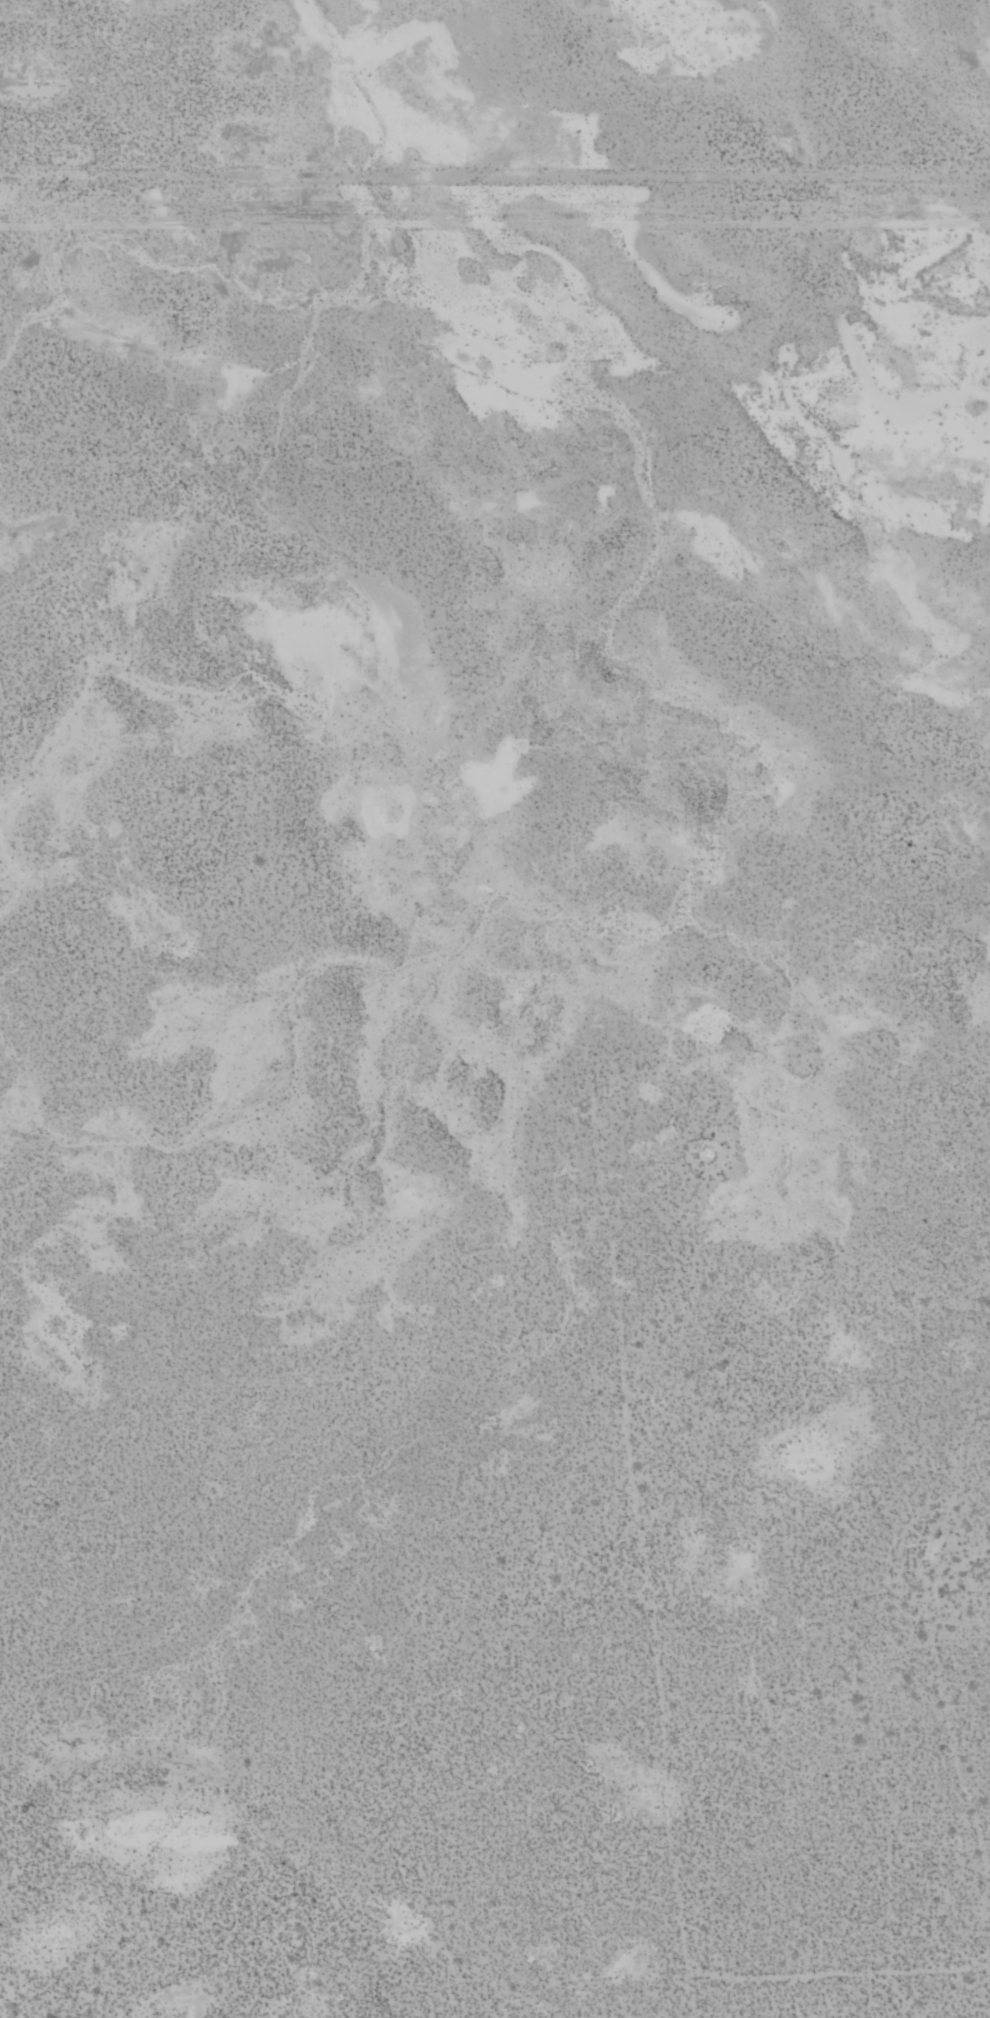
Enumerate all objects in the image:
airport: (495, 1121)

